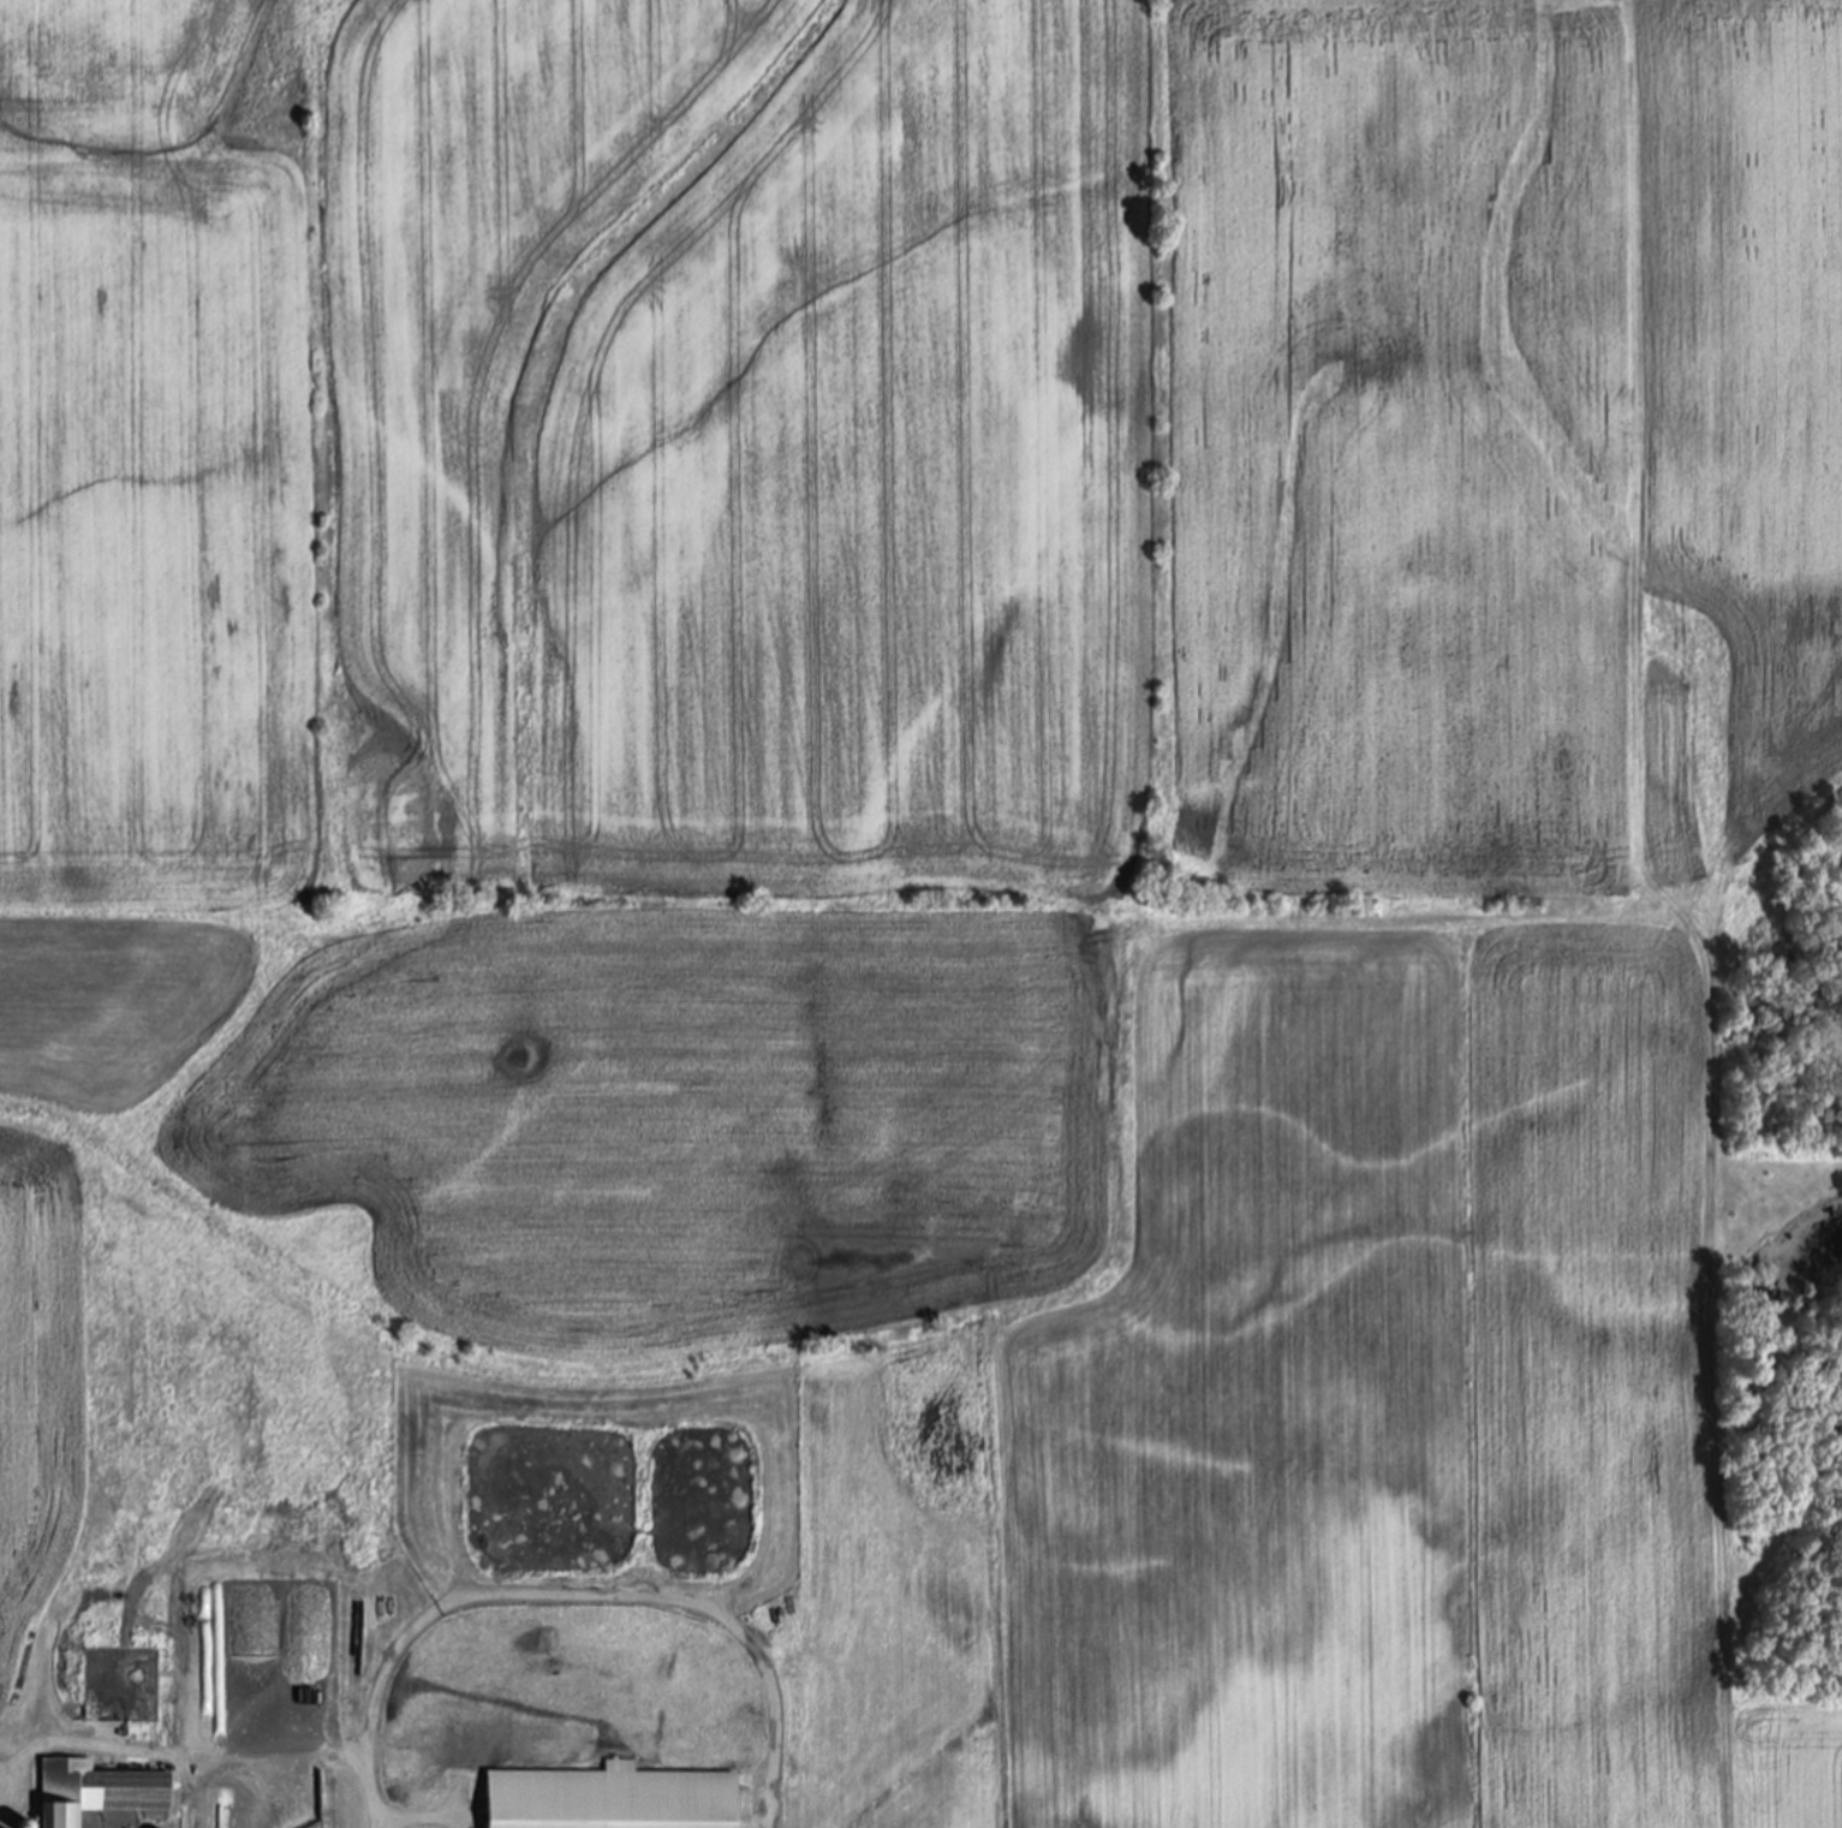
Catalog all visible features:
road: (572, 1600)
road: (173, 1756)
building: (99, 1792)
building: (613, 1799)

